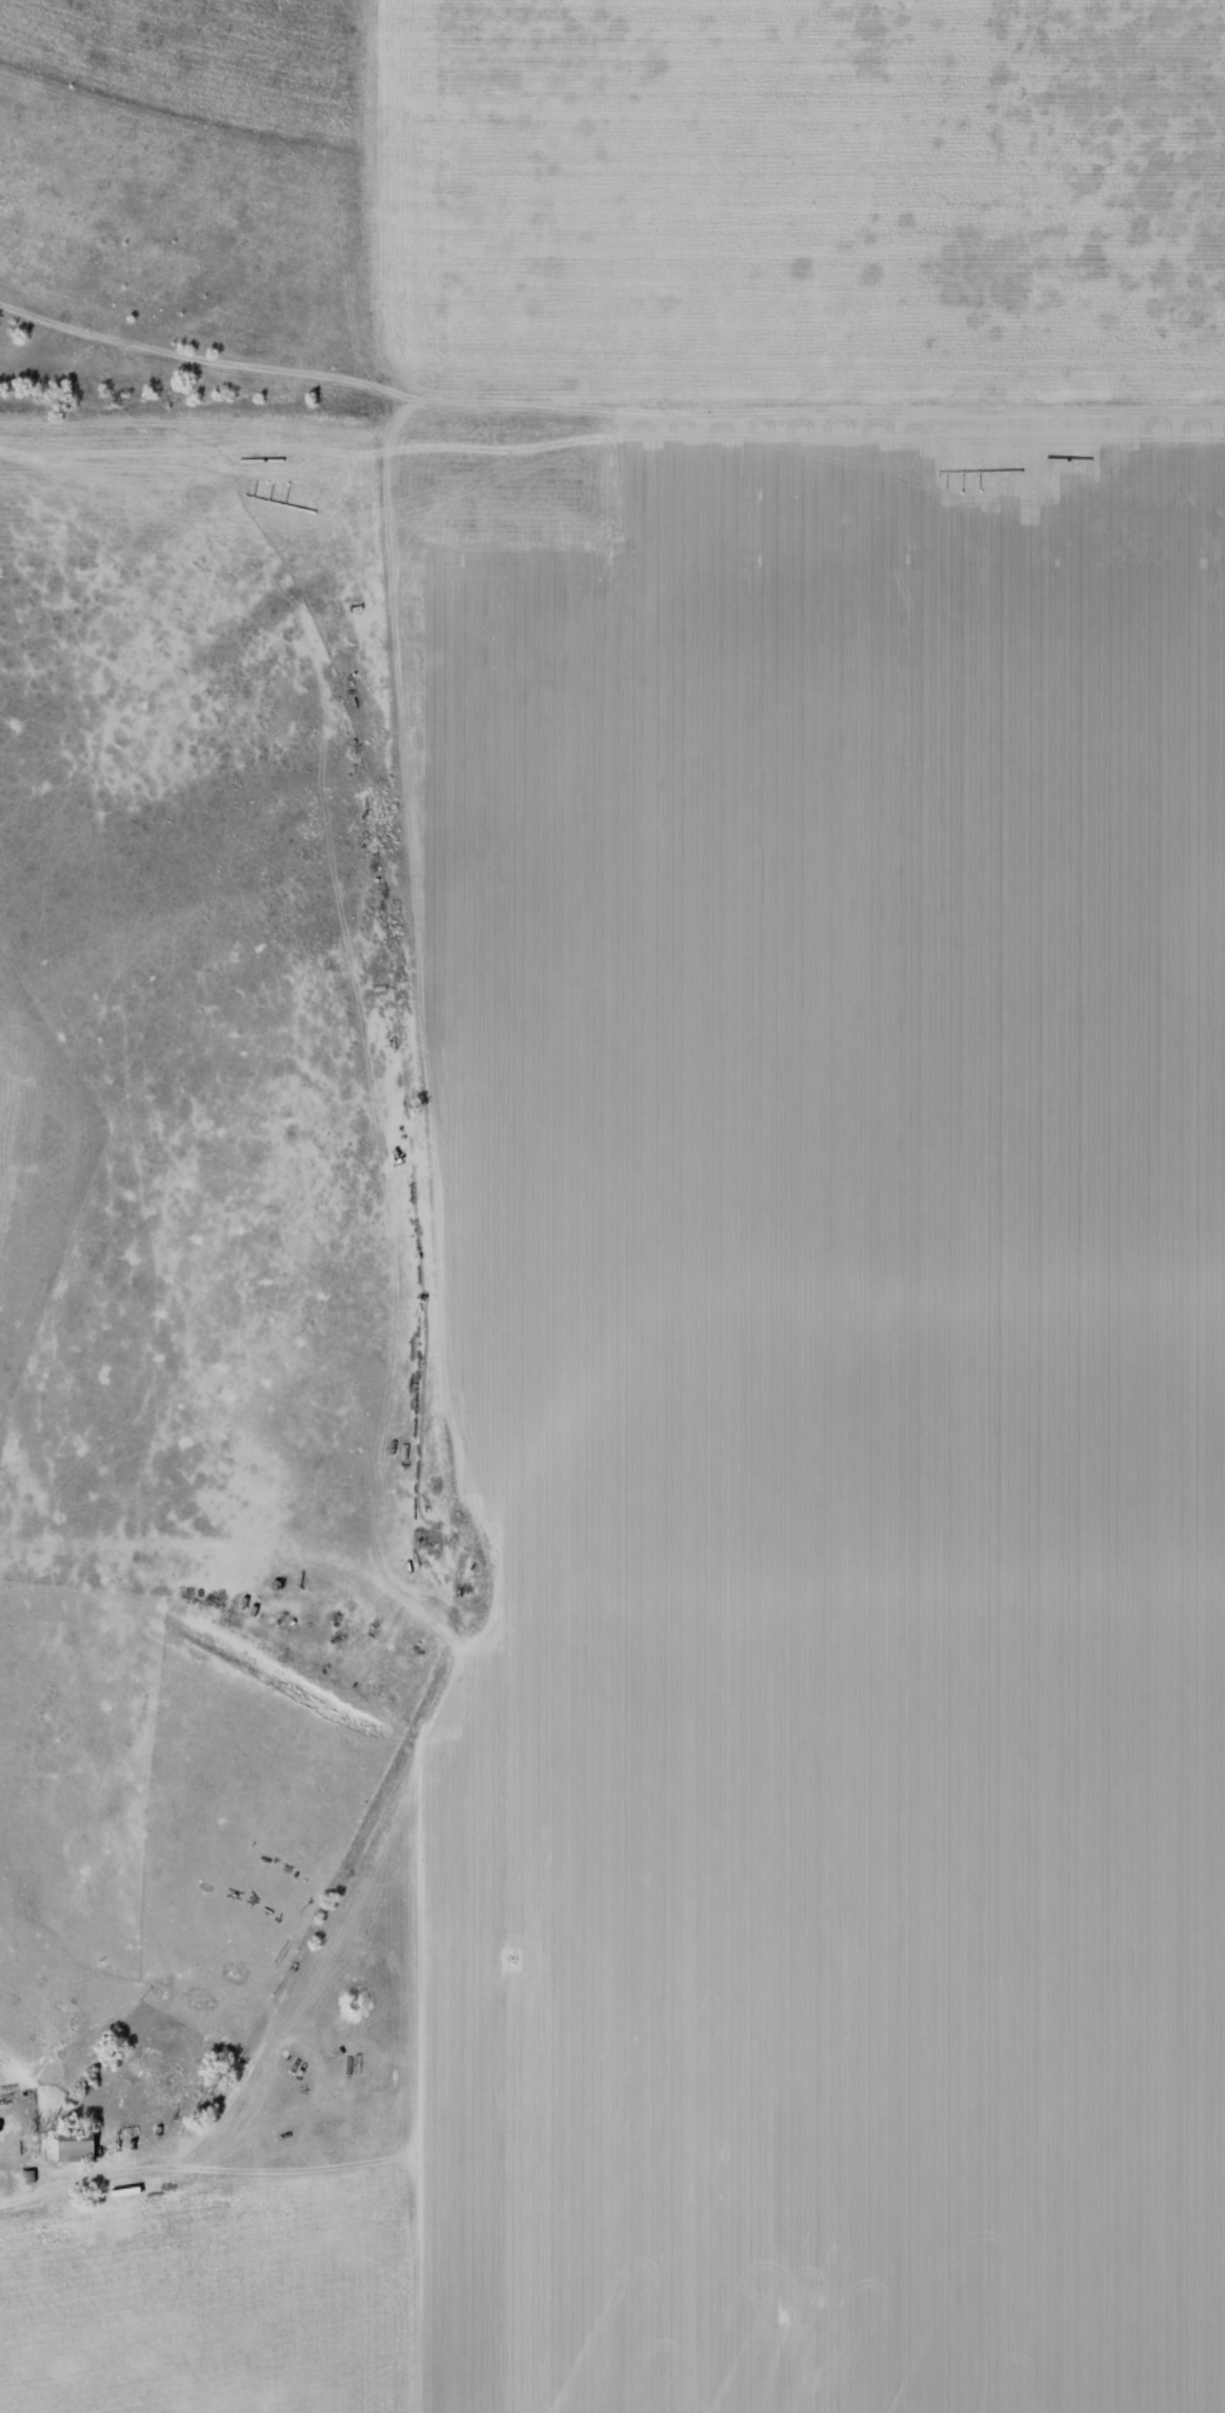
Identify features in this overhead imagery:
road: (773, 413)
road: (12, 2223)

